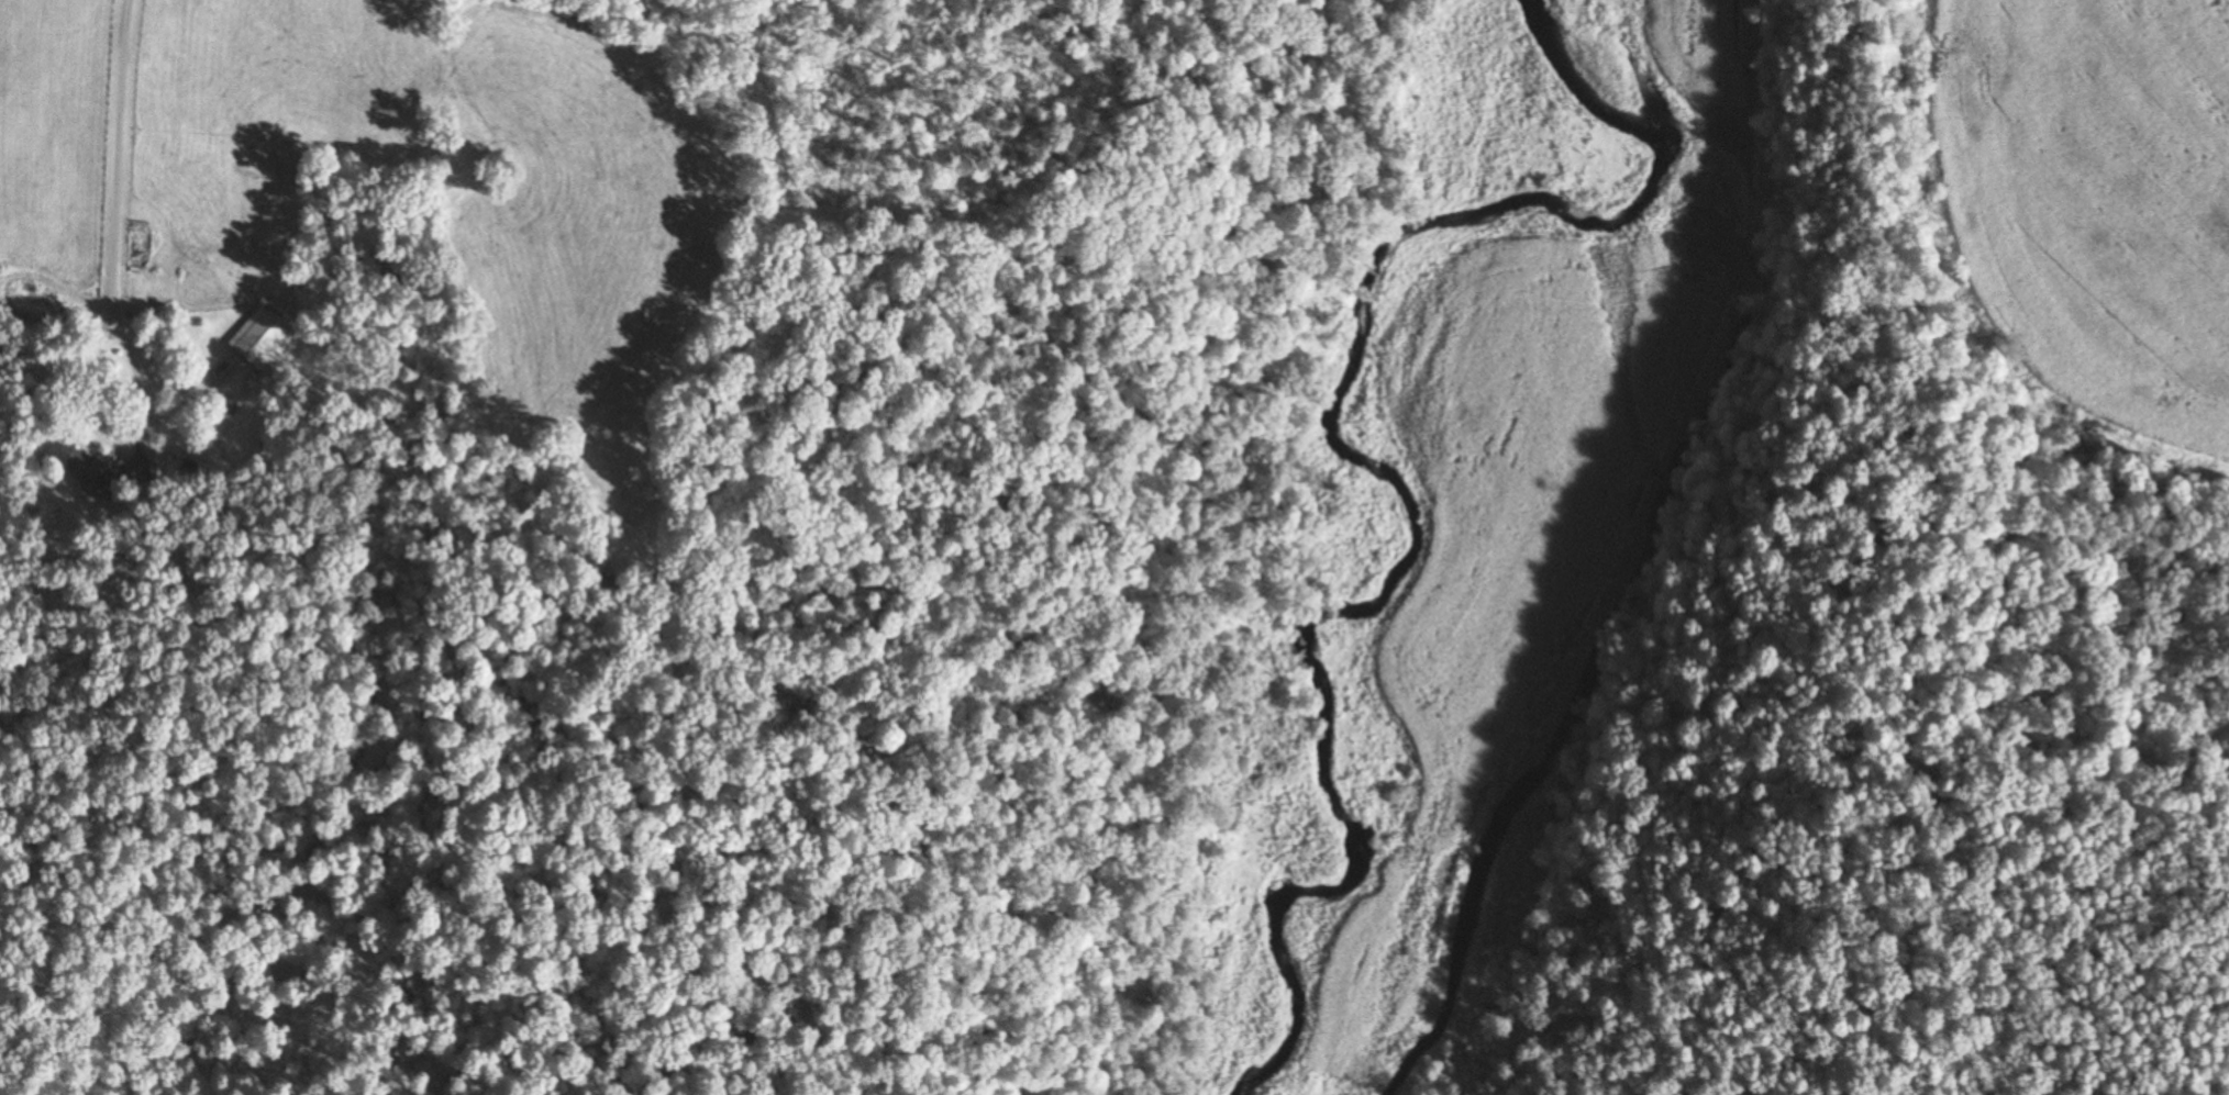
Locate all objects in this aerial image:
road: (121, 152)
building: (255, 339)
road: (122, 438)
building: (99, 472)

